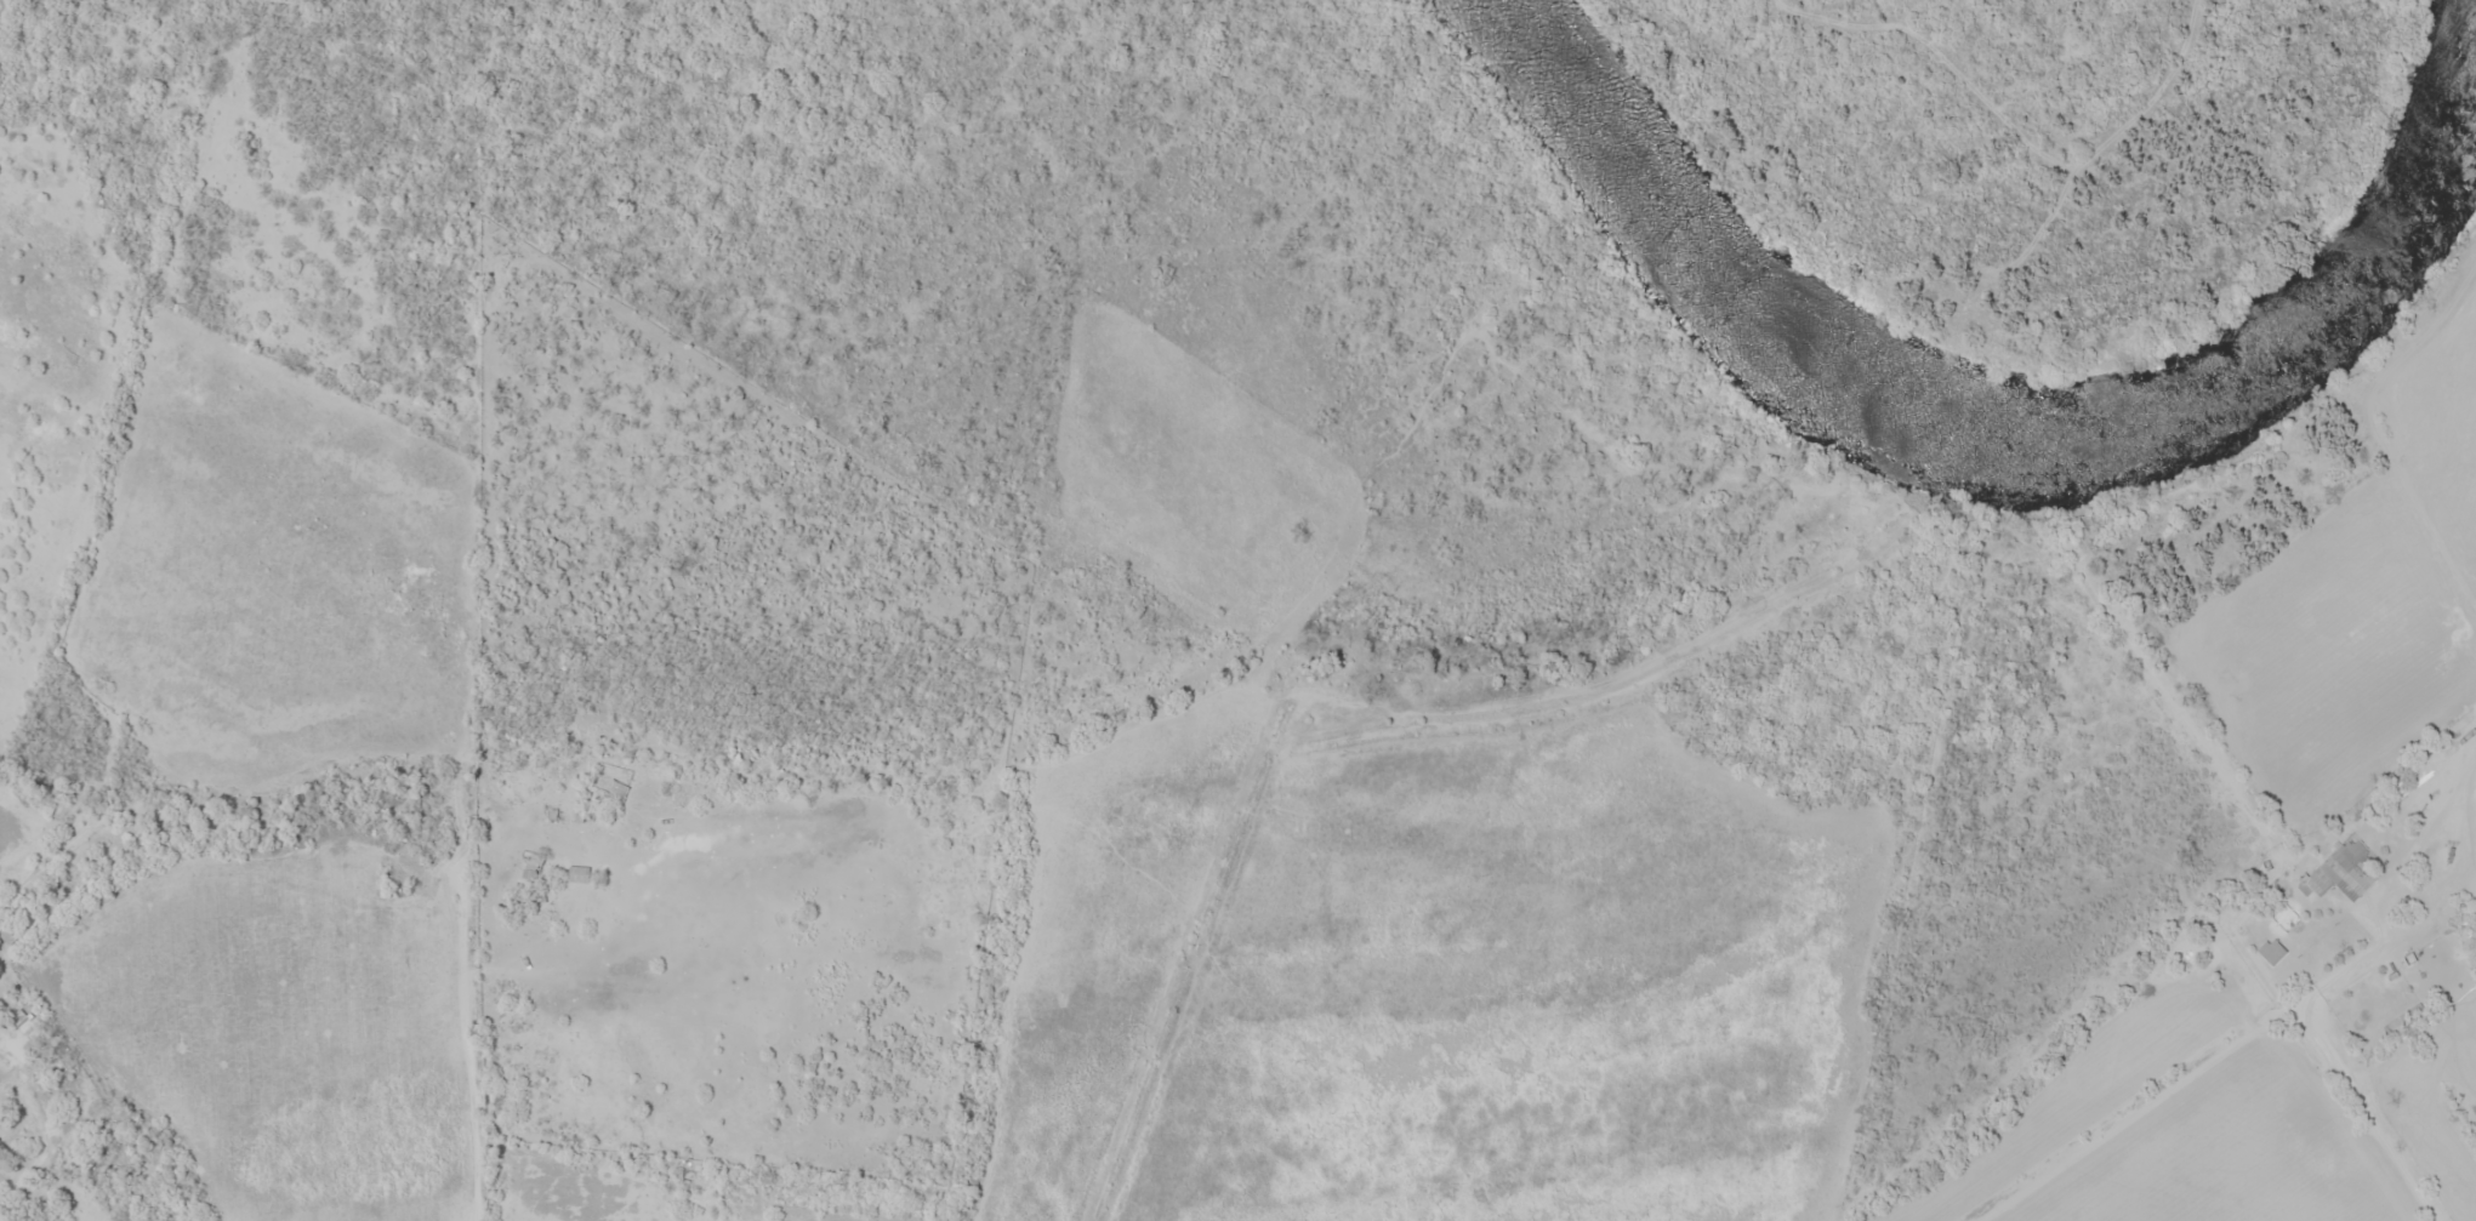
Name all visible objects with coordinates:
river: (2003, 439)
building: (2352, 874)
road: (2306, 1019)
road: (479, 1045)

